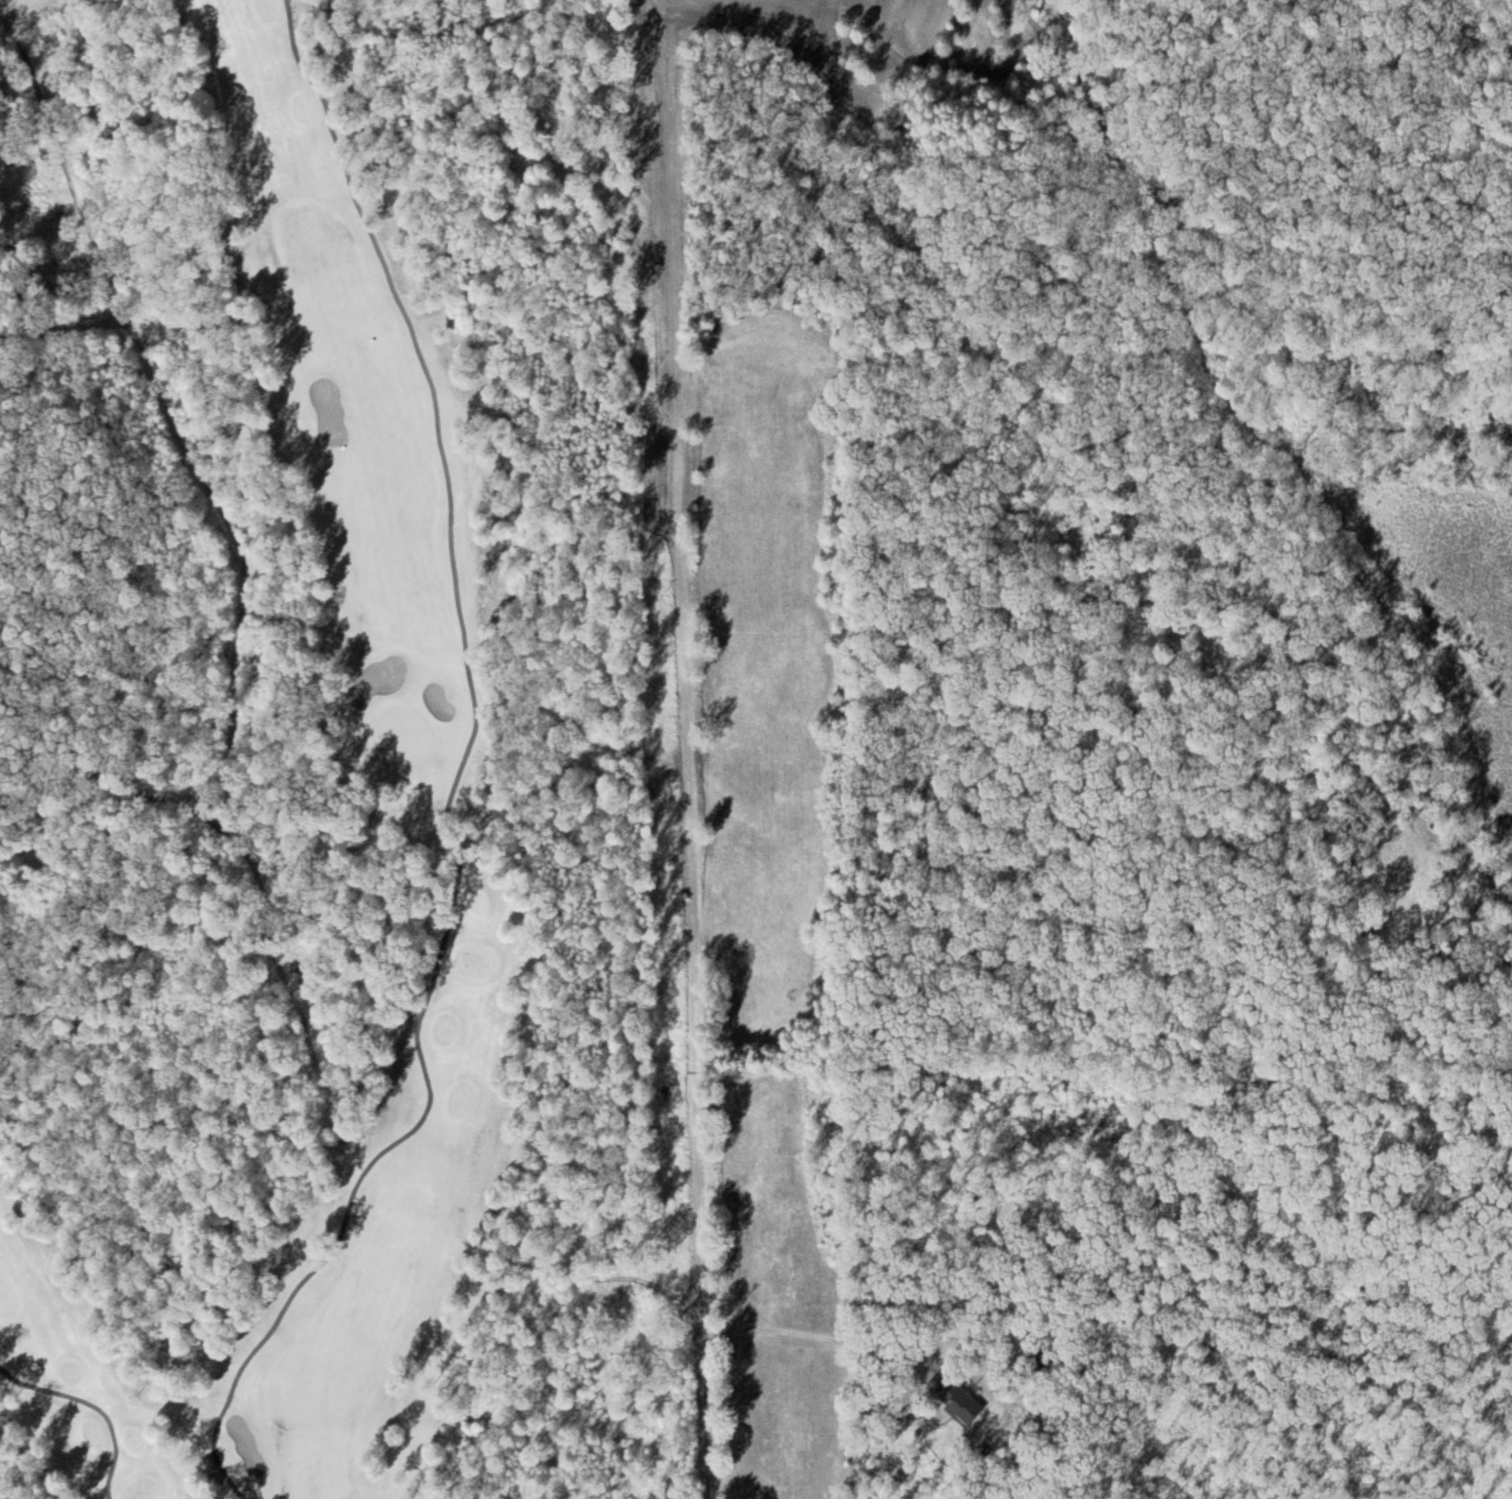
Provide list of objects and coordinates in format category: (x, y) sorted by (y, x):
park: (406, 731)
road: (689, 763)
park: (285, 774)
building: (955, 1398)

